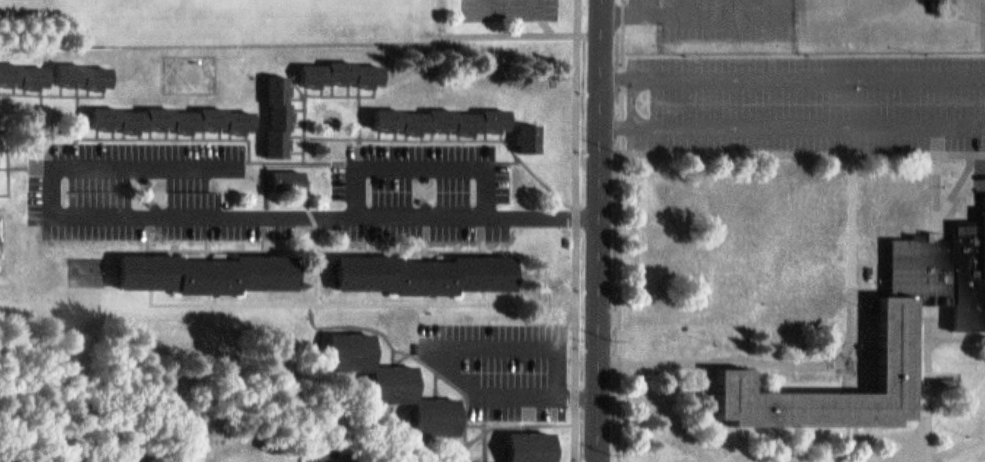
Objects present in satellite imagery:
road: (692, 2)
road: (735, 3)
road: (630, 4)
road: (784, 4)
road: (718, 5)
parking lot: (650, 6)
parking lot: (515, 9)
road: (518, 10)
parking lot: (734, 16)
park: (278, 19)
road: (554, 26)
road: (515, 33)
building: (343, 65)
building: (23, 67)
building: (84, 67)
road: (796, 70)
road: (639, 95)
parking lot: (810, 99)
building: (281, 107)
building: (175, 110)
building: (444, 113)
road: (796, 119)
building: (533, 131)
road: (806, 153)
road: (428, 161)
building: (289, 171)
parking lot: (144, 180)
parking lot: (430, 183)
road: (954, 187)
road: (934, 196)
road: (215, 216)
road: (627, 230)
road: (581, 231)
road: (606, 231)
road: (319, 232)
road: (153, 235)
road: (269, 235)
road: (372, 236)
road: (212, 238)
road: (431, 239)
road: (237, 249)
road: (395, 250)
road: (489, 253)
park: (89, 270)
building: (946, 271)
building: (211, 273)
building: (431, 274)
road: (874, 290)
road: (271, 296)
road: (373, 296)
road: (213, 298)
road: (432, 299)
road: (320, 303)
road: (933, 317)
road: (363, 326)
building: (902, 332)
road: (959, 338)
road: (473, 342)
building: (349, 347)
road: (399, 354)
road: (603, 354)
parking lot: (508, 358)
road: (845, 363)
road: (743, 365)
building: (397, 378)
road: (855, 378)
road: (457, 381)
road: (441, 383)
road: (933, 400)
road: (376, 404)
road: (671, 412)
building: (441, 415)
road: (507, 424)
road: (970, 428)
building: (535, 445)
road: (490, 446)
road: (959, 447)
parking lot: (336, 458)
road: (420, 458)
parking lot: (73, 460)
road: (337, 460)
building: (483, 461)
road: (909, 461)

